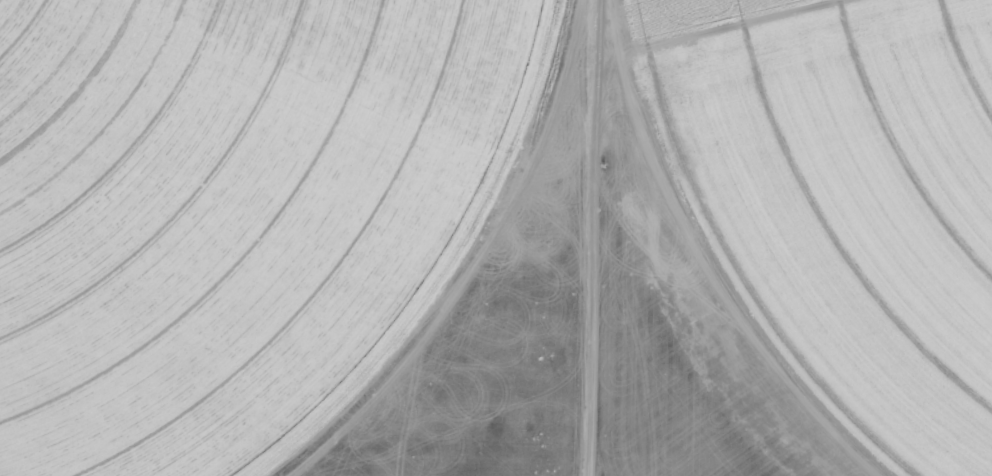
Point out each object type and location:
road: (596, 238)

